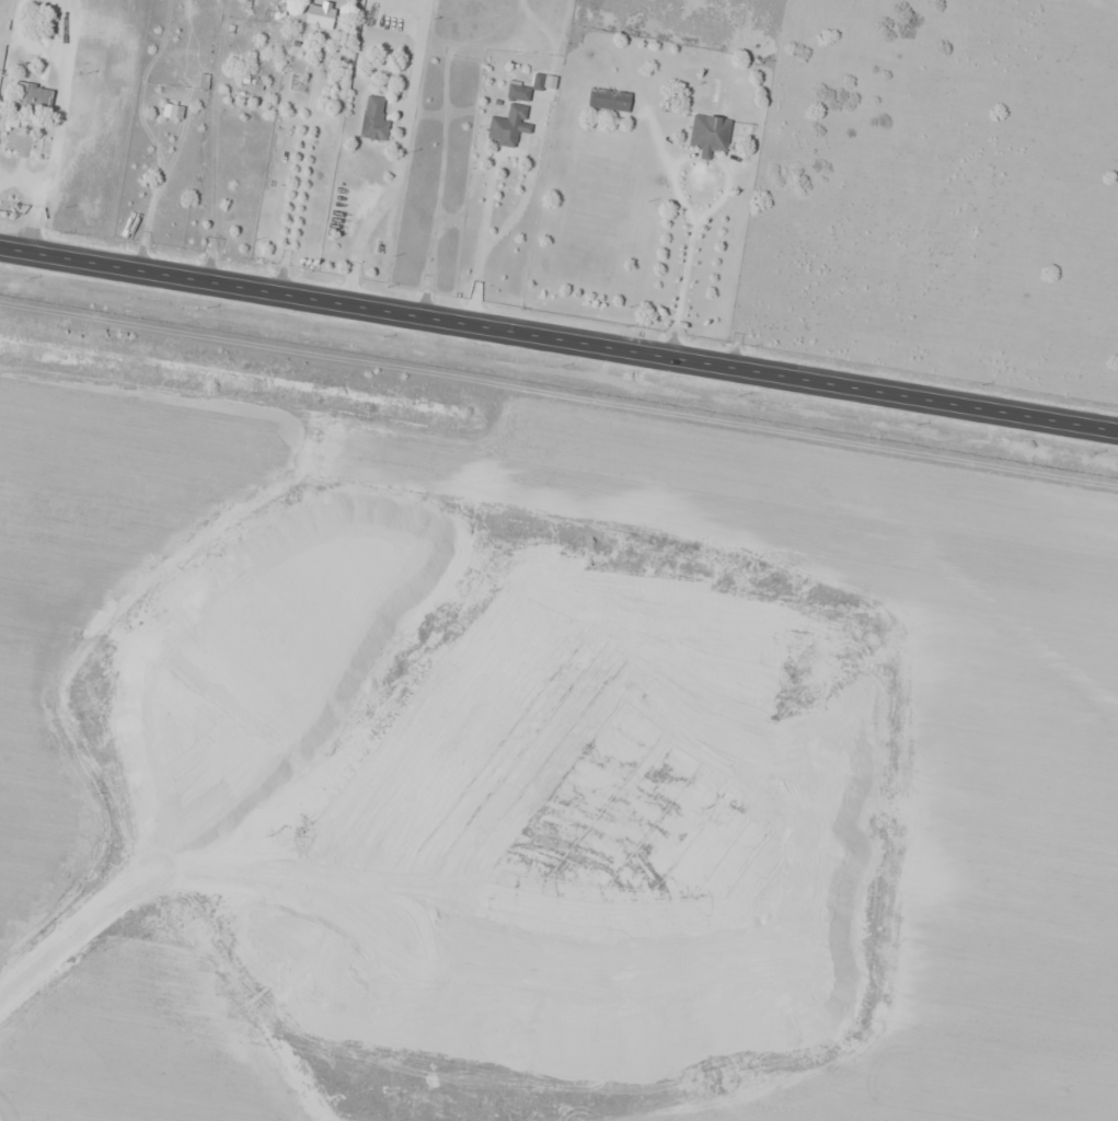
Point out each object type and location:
building: (321, 14)
building: (37, 99)
building: (610, 100)
building: (170, 111)
building: (510, 115)
building: (374, 117)
building: (710, 134)
road: (558, 339)
landfill: (459, 743)

